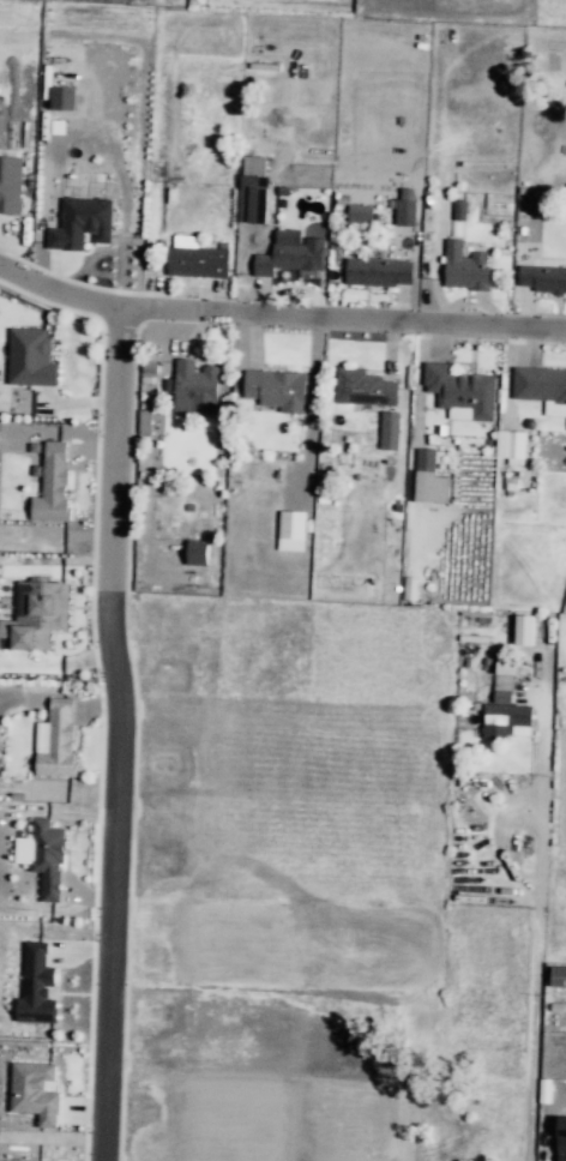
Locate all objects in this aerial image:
building: (62, 97)
building: (10, 185)
building: (252, 190)
building: (459, 209)
building: (409, 215)
building: (361, 218)
building: (80, 223)
building: (201, 264)
building: (289, 265)
building: (384, 272)
building: (468, 272)
building: (549, 283)
road: (278, 313)
building: (30, 357)
building: (541, 390)
building: (200, 391)
building: (365, 392)
building: (277, 393)
building: (463, 393)
building: (145, 425)
building: (389, 431)
building: (512, 452)
building: (429, 465)
building: (52, 483)
building: (293, 533)
building: (195, 552)
building: (36, 614)
building: (524, 630)
building: (502, 685)
building: (508, 718)
road: (115, 736)
building: (55, 739)
building: (43, 856)
building: (558, 976)
building: (36, 986)
road: (537, 1006)
building: (34, 1091)
building: (206, 1126)
building: (326, 1139)
building: (452, 1142)
building: (561, 1143)
building: (565, 1153)

